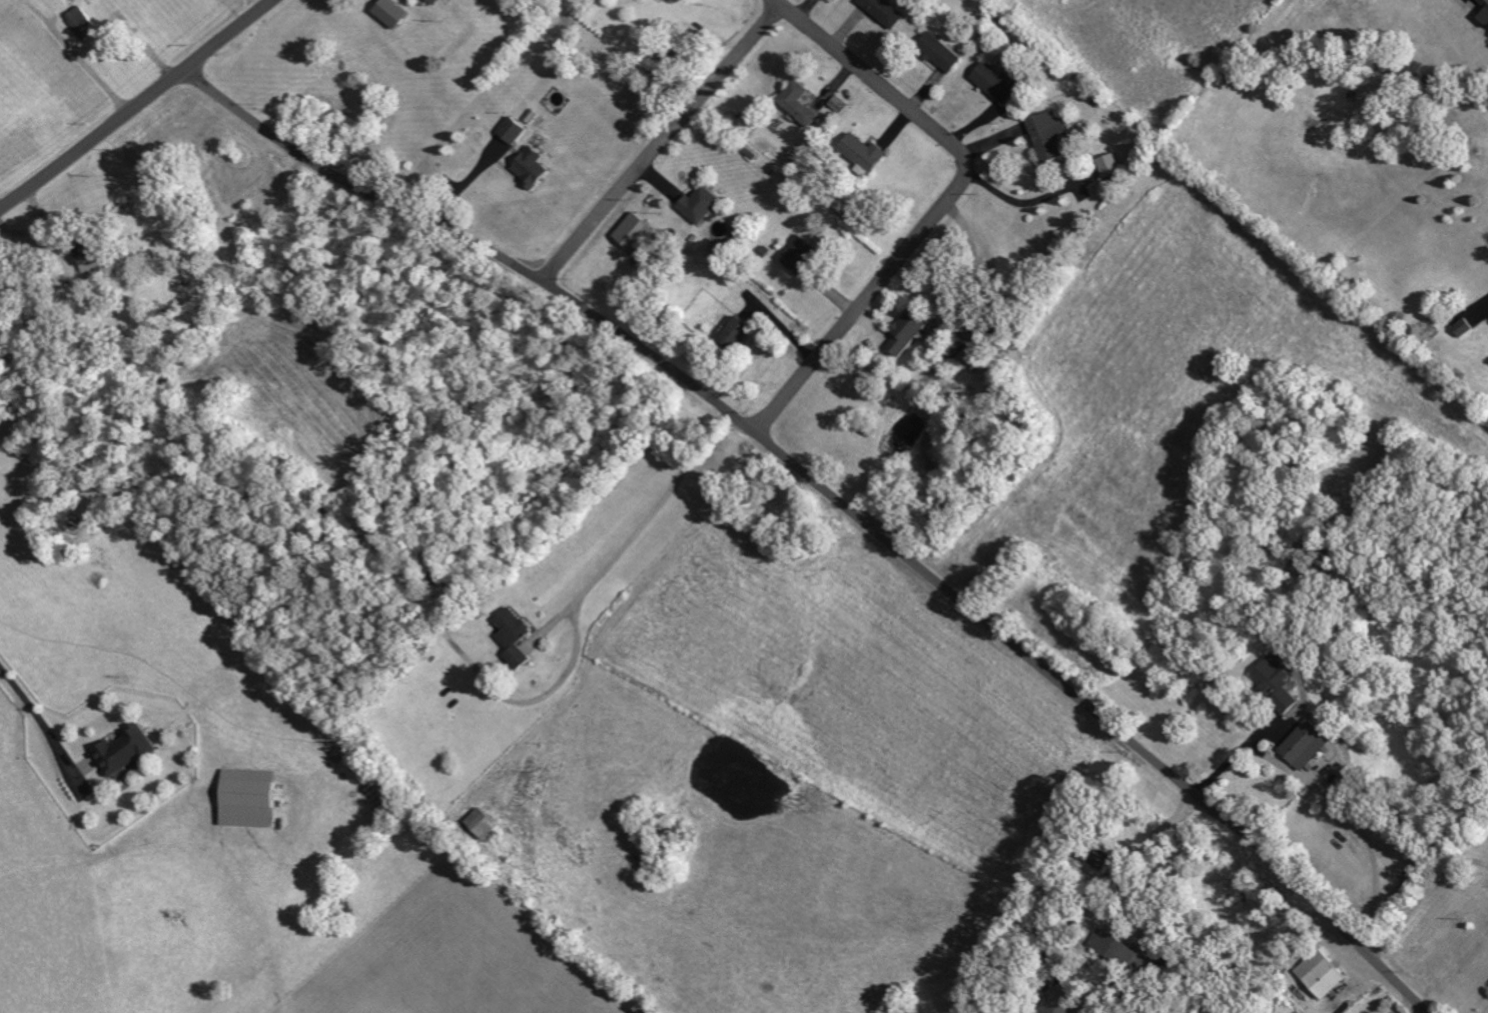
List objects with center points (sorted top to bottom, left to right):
building: (435, 1)
building: (1485, 2)
building: (886, 11)
building: (393, 13)
building: (1485, 17)
building: (83, 23)
building: (941, 53)
building: (998, 83)
building: (800, 103)
building: (838, 104)
road: (137, 105)
building: (515, 131)
building: (1050, 134)
road: (663, 144)
building: (866, 152)
building: (1112, 166)
building: (535, 167)
road: (947, 203)
road: (1019, 203)
building: (702, 205)
building: (638, 232)
building: (800, 254)
building: (1464, 328)
building: (739, 332)
building: (908, 333)
building: (966, 357)
road: (838, 499)
road: (639, 529)
building: (515, 636)
building: (1280, 685)
road: (41, 726)
building: (1308, 745)
building: (128, 751)
road: (1236, 754)
building: (251, 799)
building: (484, 824)
road: (1145, 847)
road: (1424, 894)
building: (1126, 952)
building: (1323, 973)
building: (1065, 1000)

